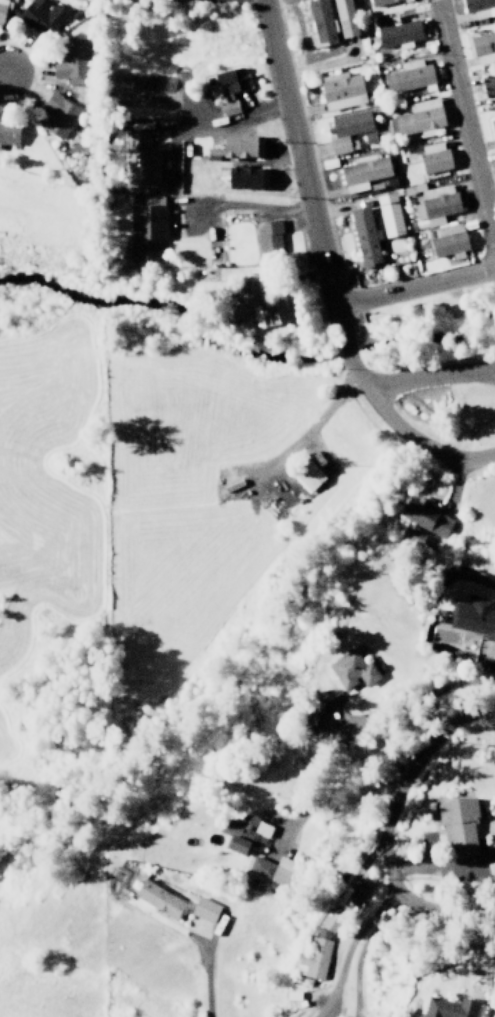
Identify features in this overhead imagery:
building: (379, 2)
building: (479, 7)
building: (2, 8)
building: (41, 16)
building: (343, 18)
building: (319, 23)
building: (397, 35)
building: (483, 46)
building: (70, 63)
road: (2, 72)
building: (408, 76)
building: (487, 84)
building: (229, 88)
building: (340, 90)
building: (57, 116)
building: (417, 119)
road: (225, 121)
building: (492, 127)
road: (463, 128)
building: (348, 131)
building: (8, 134)
building: (236, 147)
building: (433, 157)
road: (297, 159)
building: (139, 160)
building: (363, 172)
building: (240, 178)
building: (151, 200)
road: (237, 203)
building: (435, 204)
building: (389, 214)
building: (145, 232)
building: (363, 237)
building: (269, 239)
building: (447, 240)
road: (413, 287)
building: (251, 309)
road: (341, 340)
road: (426, 376)
road: (403, 438)
building: (306, 475)
building: (427, 516)
building: (412, 533)
building: (352, 670)
road: (425, 688)
building: (457, 826)
building: (242, 833)
road: (382, 848)
building: (270, 869)
building: (491, 869)
building: (157, 899)
road: (441, 907)
building: (204, 909)
building: (317, 950)
road: (402, 956)
road: (200, 982)
building: (449, 1008)

